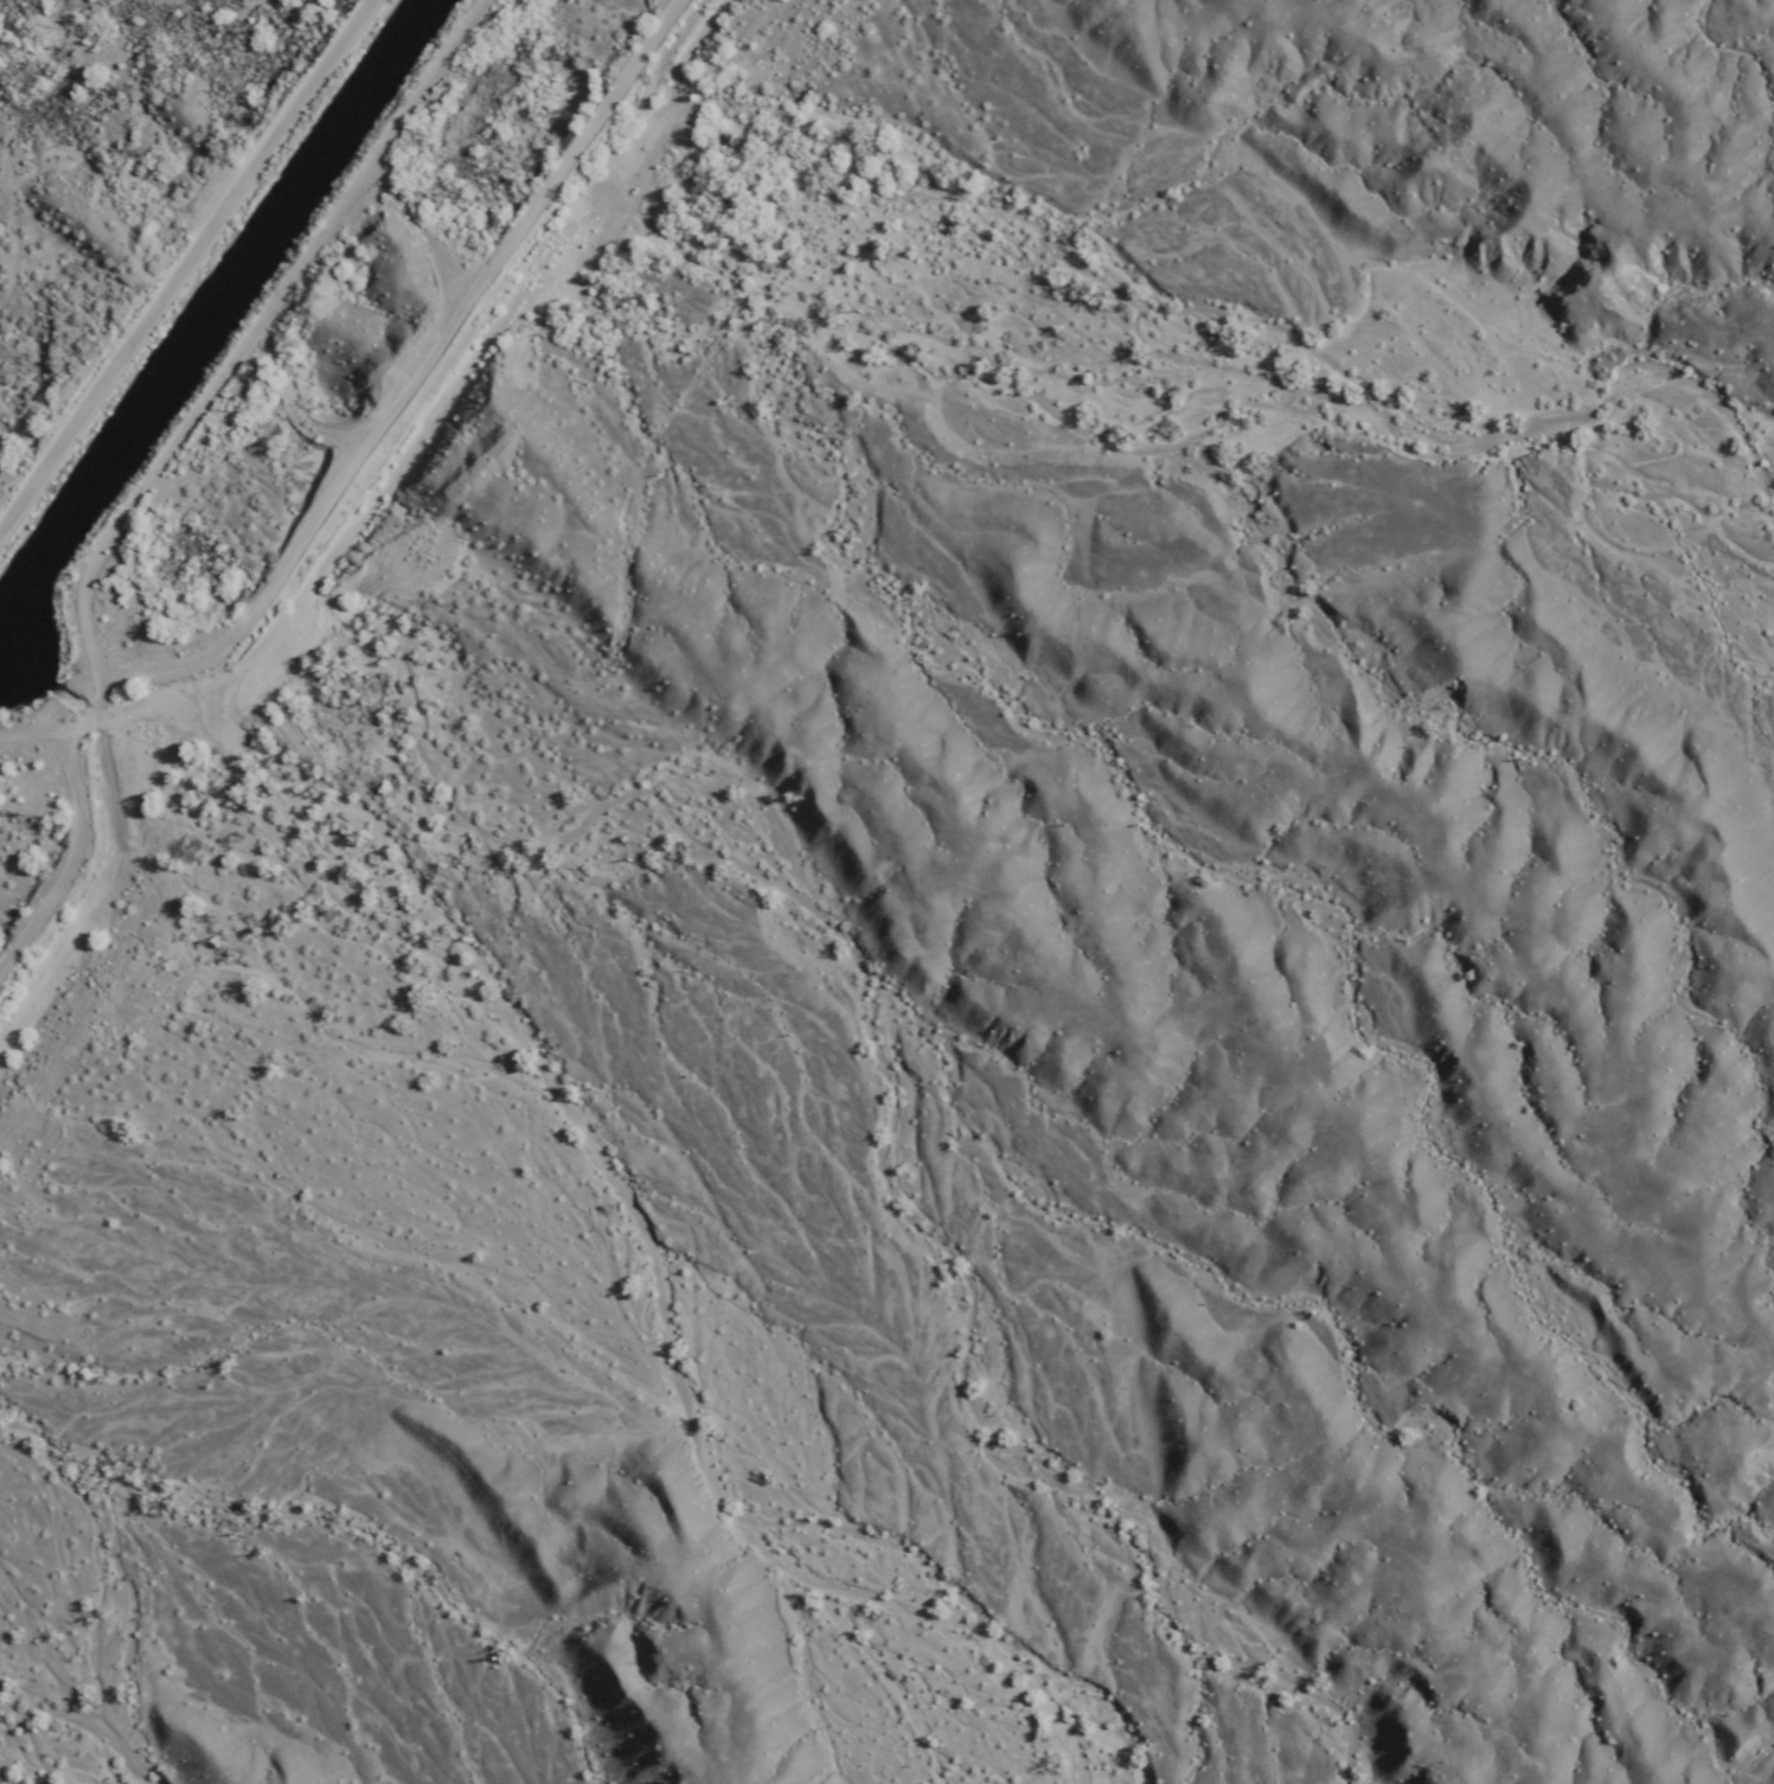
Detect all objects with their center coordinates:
road: (187, 266)
river: (217, 326)

